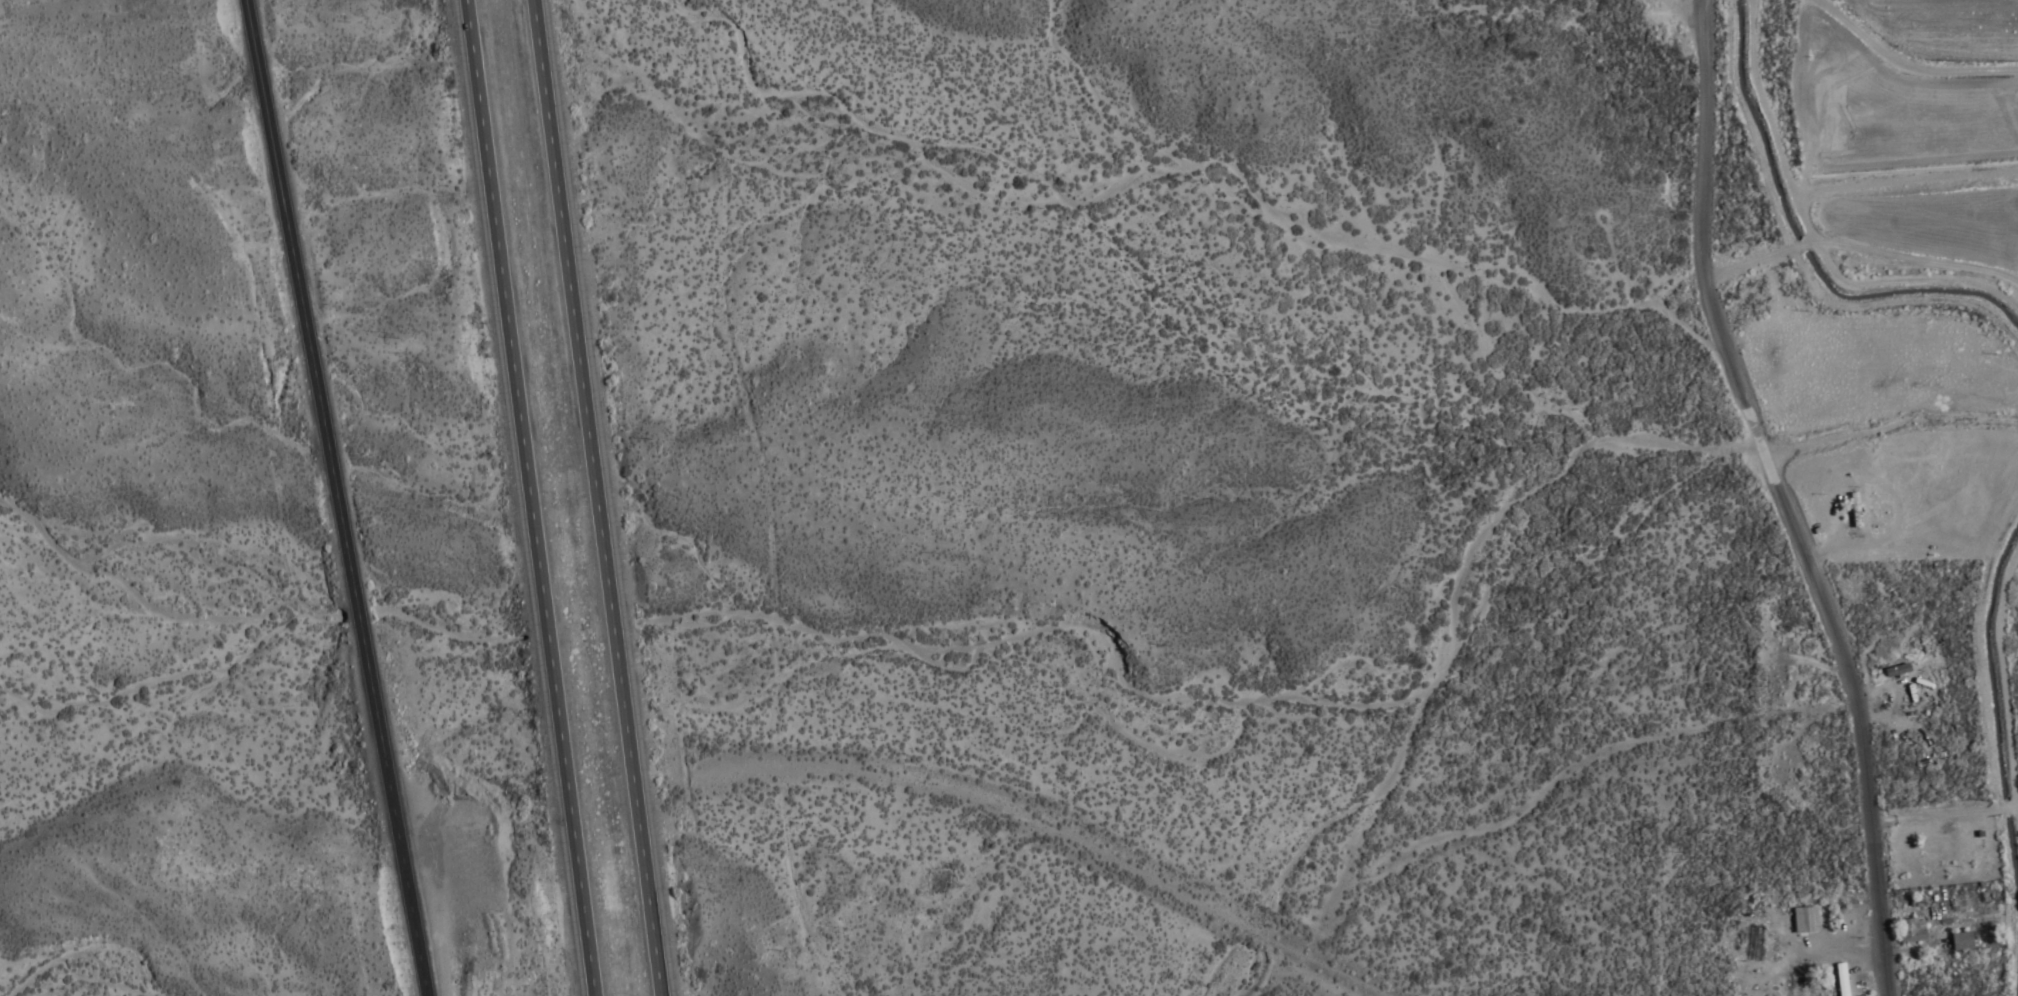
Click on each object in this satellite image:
road: (1835, 23)
road: (1936, 75)
road: (1761, 124)
road: (1738, 130)
road: (1900, 182)
road: (1858, 245)
road: (1907, 282)
road: (1898, 305)
road: (337, 497)
road: (526, 497)
road: (1779, 497)
road: (594, 498)
road: (1969, 646)
road: (1994, 668)
road: (1940, 816)
road: (2012, 859)
road: (2000, 899)
building: (1800, 921)
building: (1907, 932)
building: (1957, 942)
road: (1519, 960)
road: (2017, 975)
building: (1837, 980)
building: (1737, 982)

